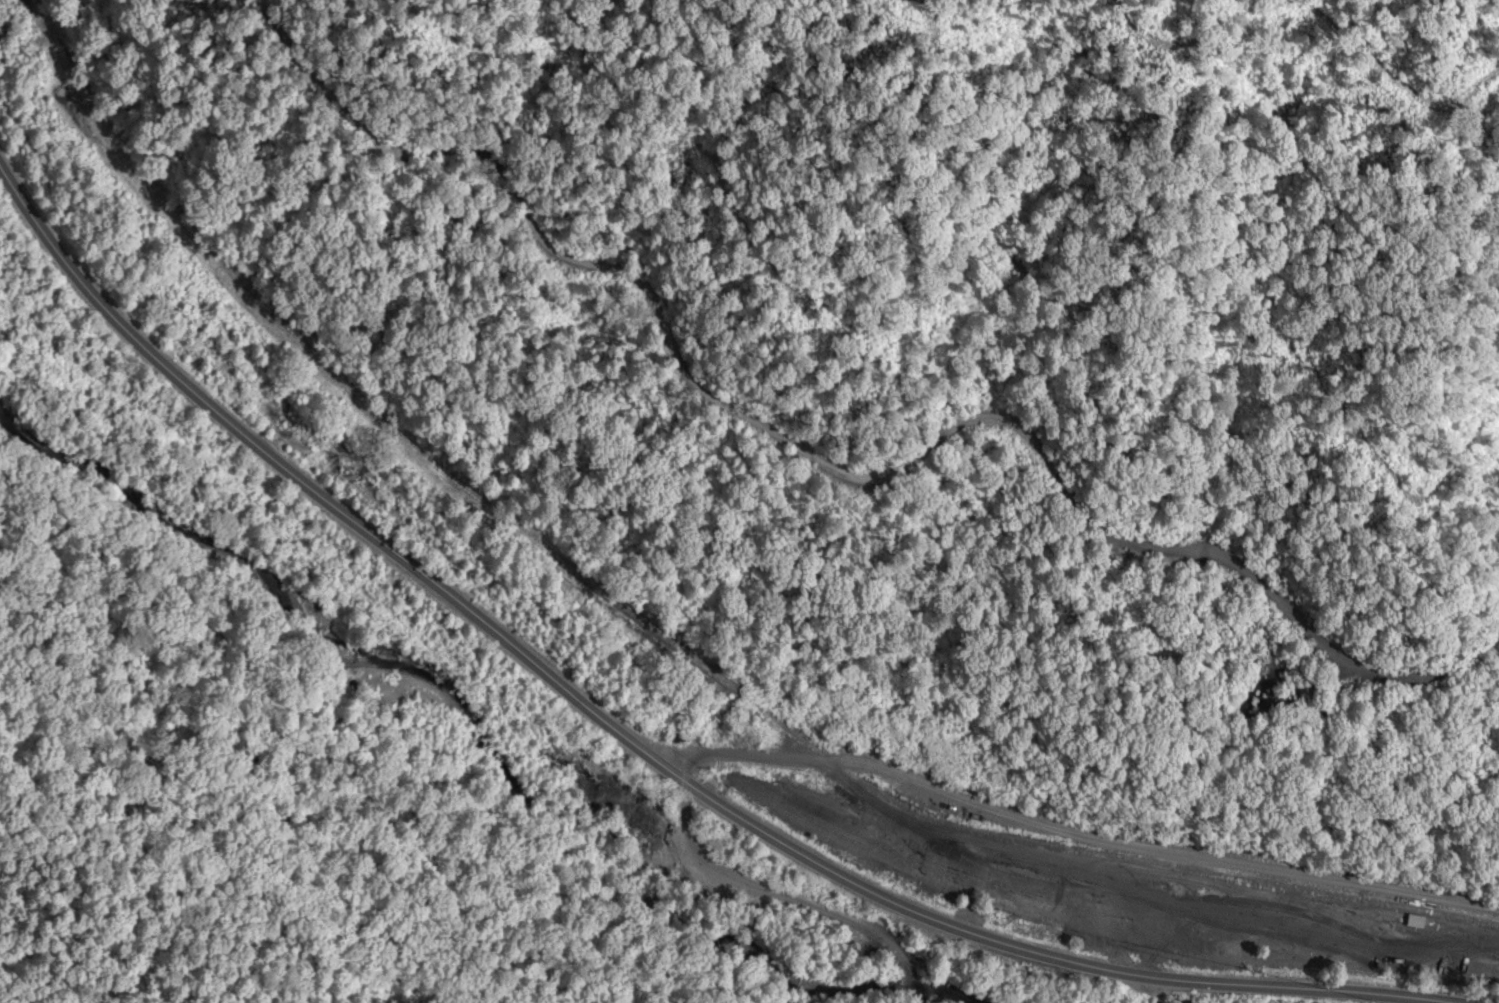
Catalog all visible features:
railway: (658, 640)
road: (622, 736)
road: (1074, 837)

